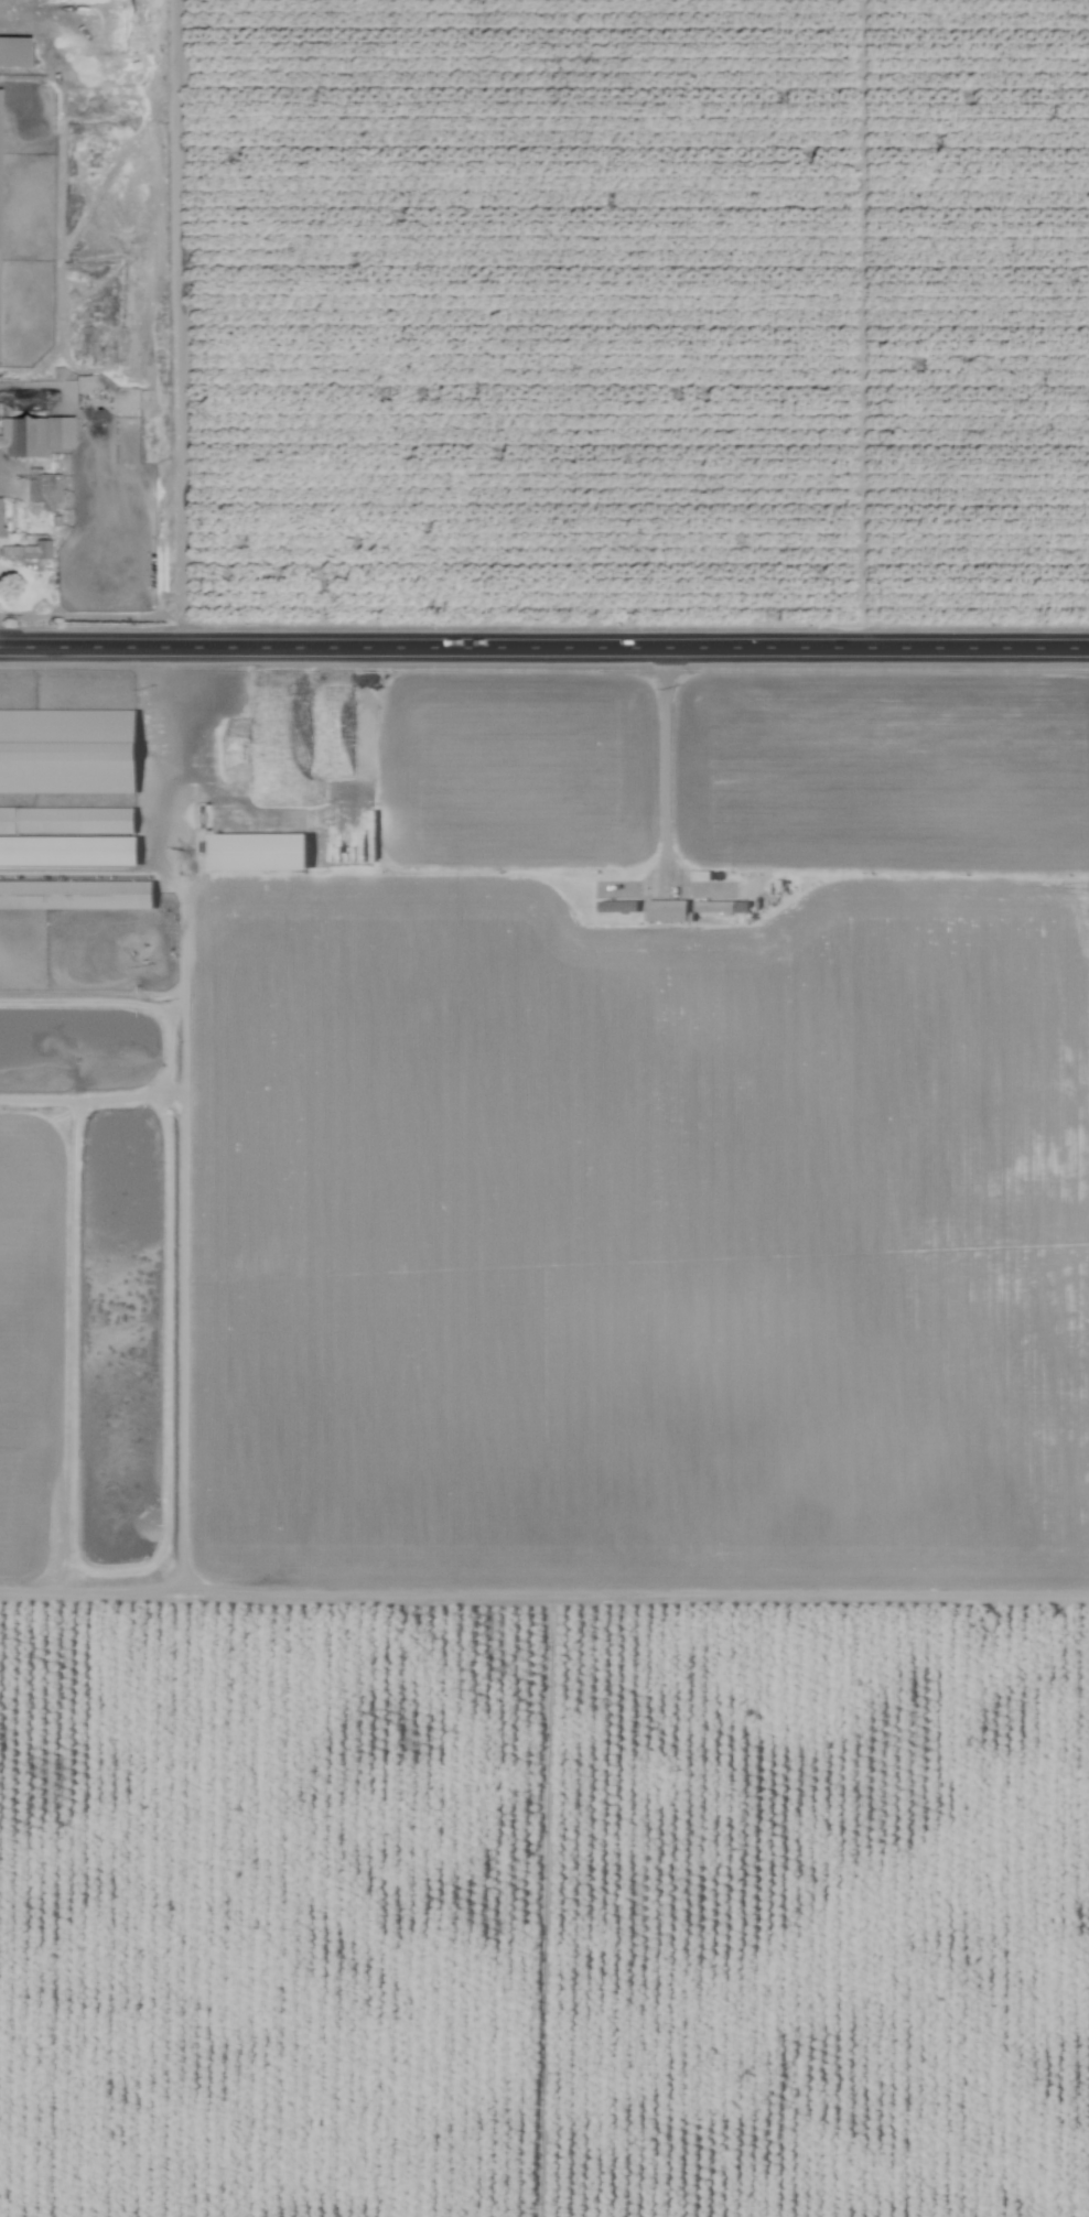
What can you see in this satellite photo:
building: (87, 15)
building: (15, 54)
building: (0, 167)
building: (104, 349)
building: (37, 439)
building: (46, 494)
building: (2, 519)
building: (41, 553)
road: (543, 645)
building: (66, 753)
road: (151, 754)
road: (666, 760)
building: (66, 822)
building: (347, 828)
building: (66, 852)
building: (254, 854)
building: (75, 896)
building: (615, 908)
building: (711, 908)
building: (664, 911)

